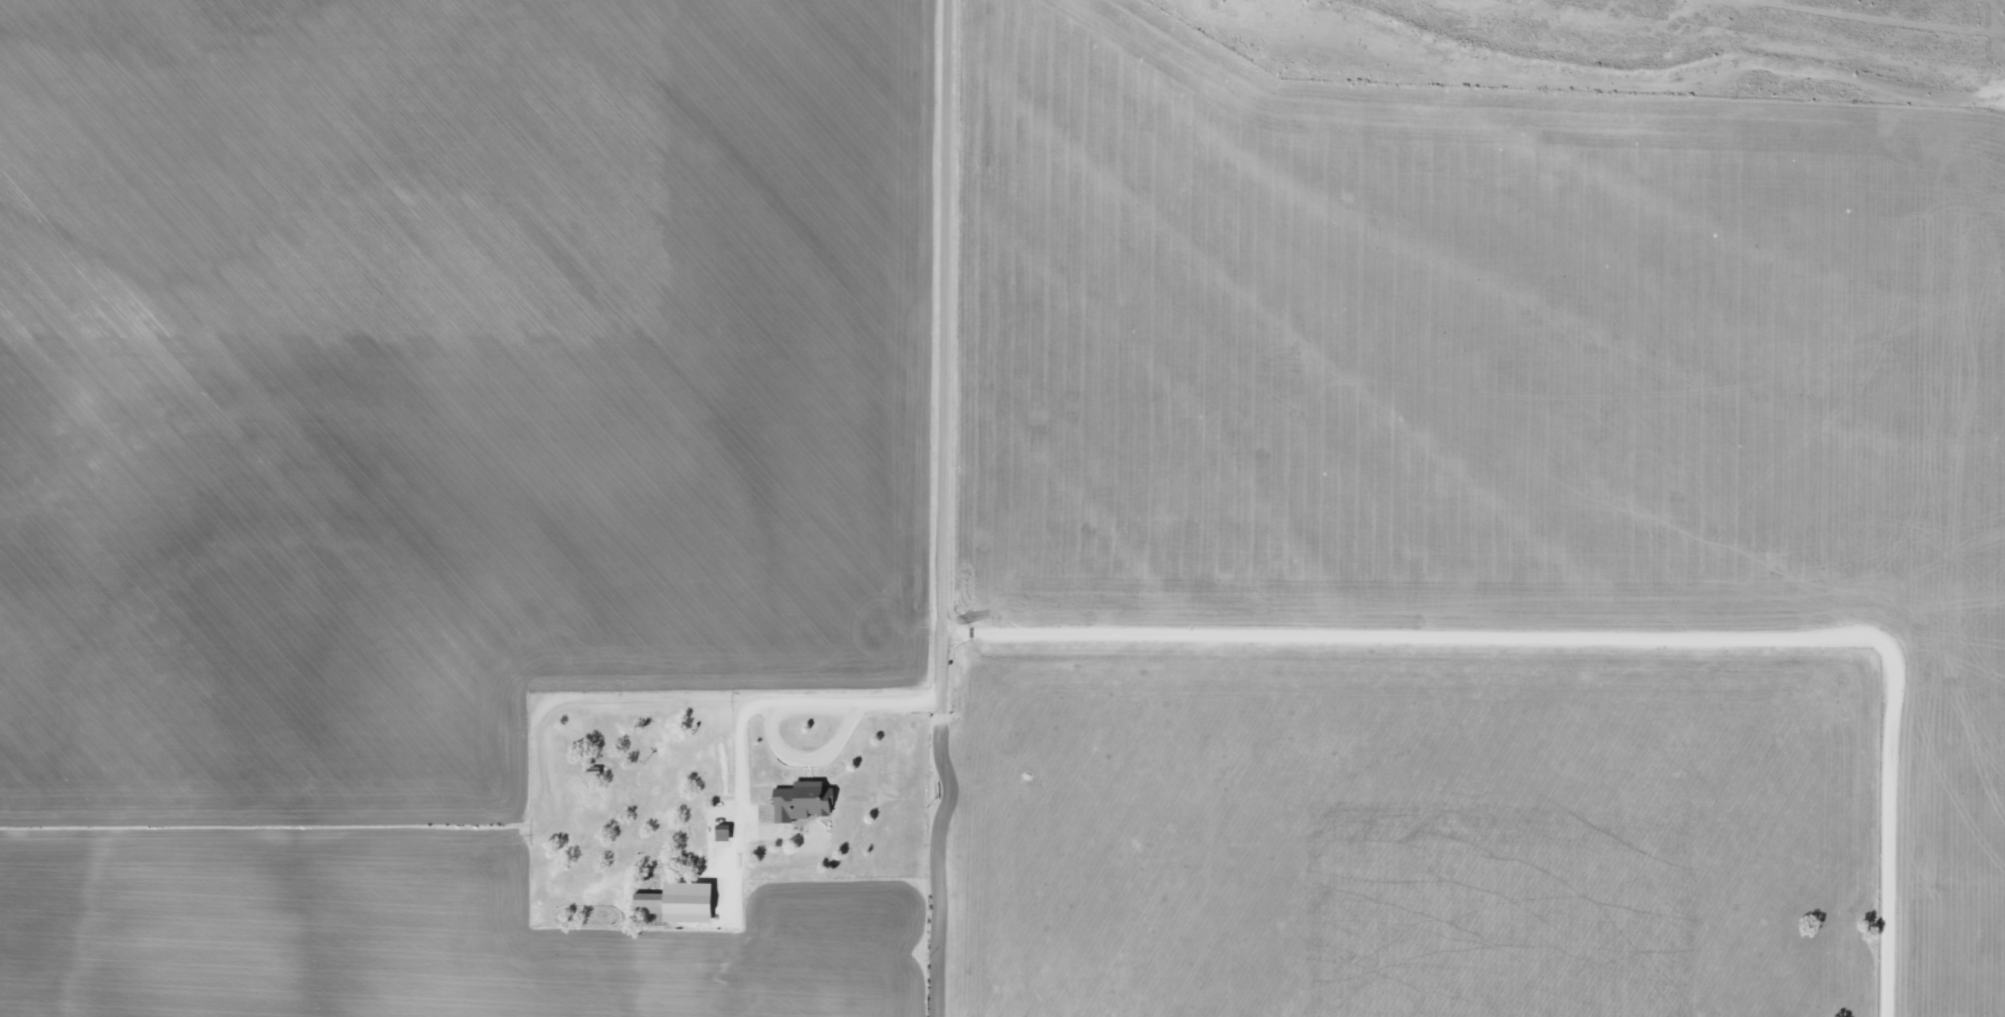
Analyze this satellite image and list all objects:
road: (982, 320)
road: (1614, 653)
building: (801, 801)
building: (678, 901)
road: (571, 905)

